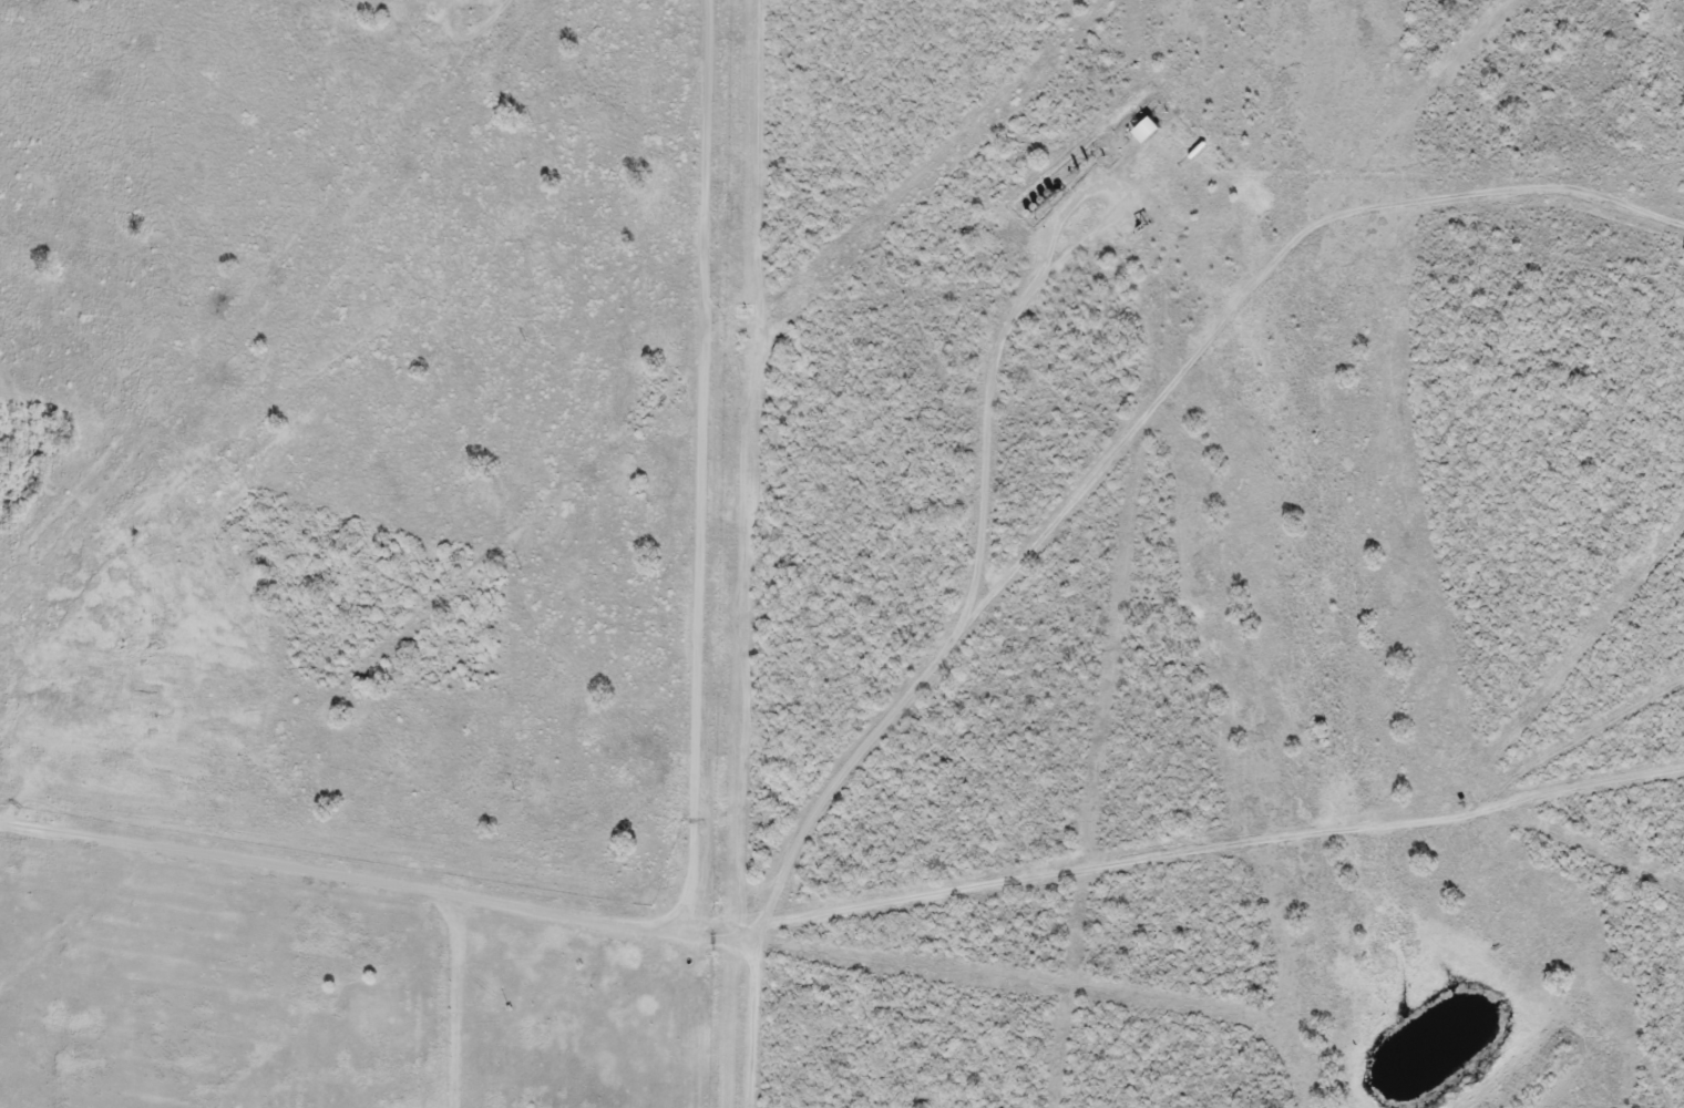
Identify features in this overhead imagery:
building: (1141, 129)
petroleum well: (1134, 225)

